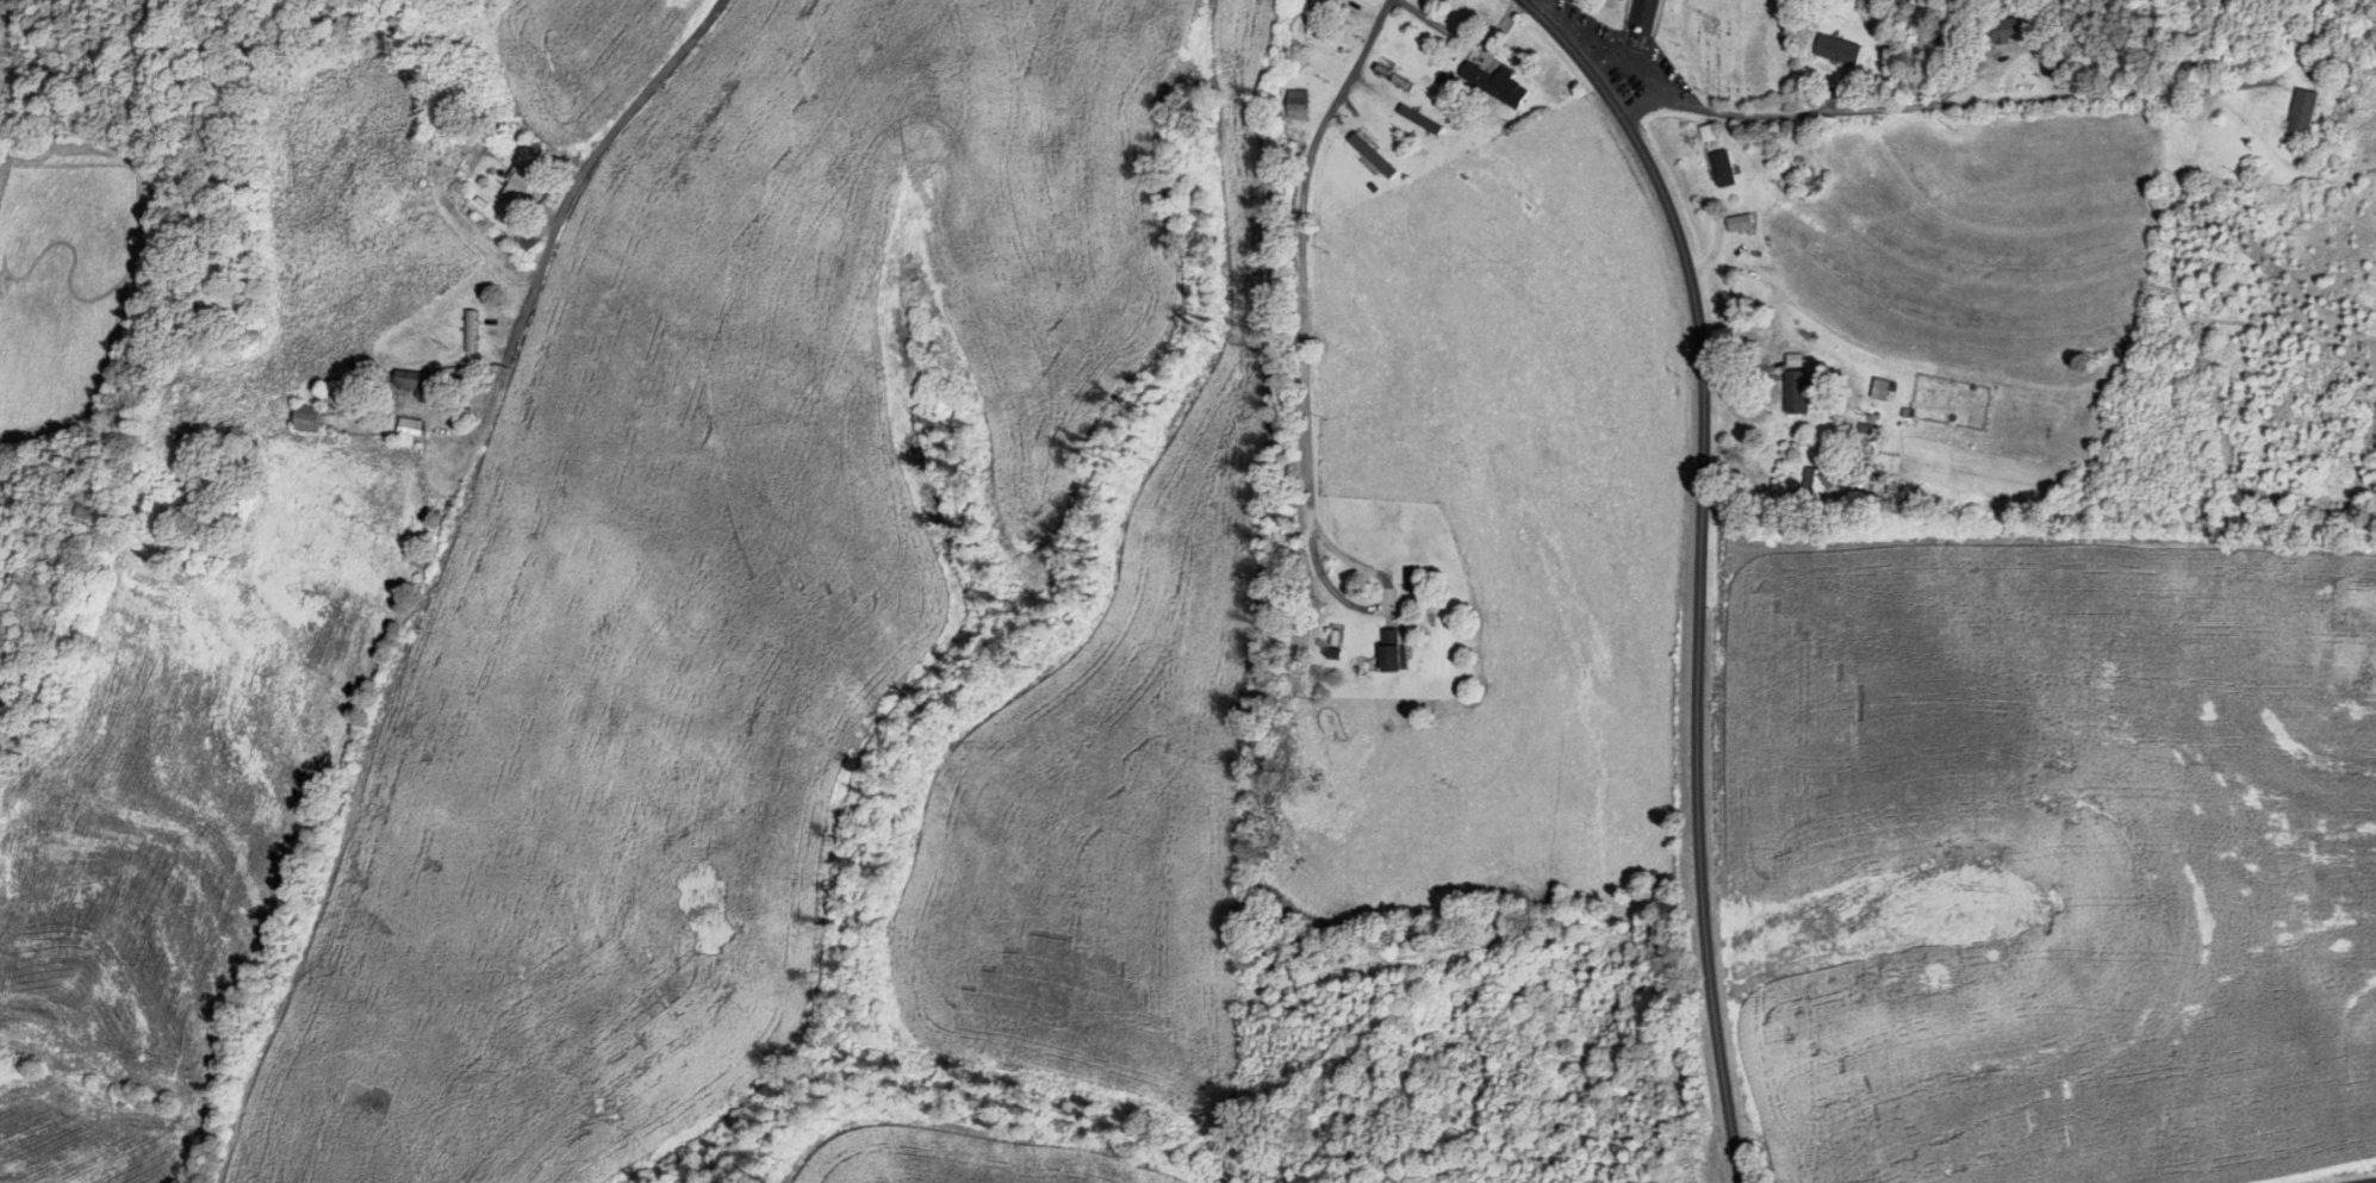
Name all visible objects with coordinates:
building: (1644, 19)
building: (2005, 30)
road: (1463, 39)
building: (1841, 45)
park: (1736, 49)
building: (1497, 85)
building: (1298, 104)
building: (2303, 111)
road: (2004, 114)
building: (1419, 118)
road: (1660, 131)
building: (472, 158)
building: (1724, 168)
building: (520, 187)
building: (1740, 223)
road: (567, 230)
road: (1300, 304)
building: (471, 330)
building: (1795, 360)
building: (419, 384)
building: (1881, 388)
building: (1797, 391)
building: (309, 418)
building: (1818, 480)
building: (1895, 490)
road: (1699, 567)
building: (1393, 650)
road: (2370, 1182)

